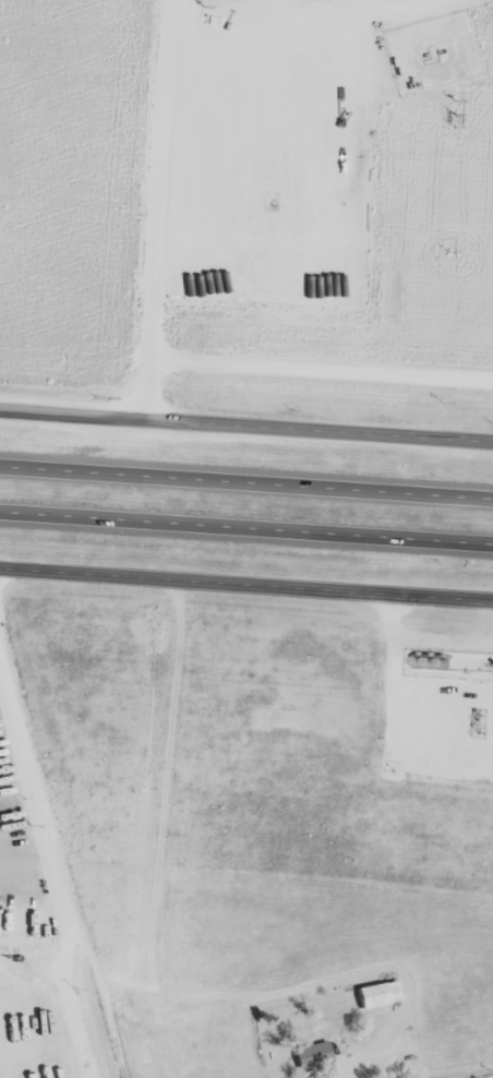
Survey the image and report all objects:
road: (458, 62)
road: (246, 170)
road: (246, 420)
road: (245, 483)
road: (245, 527)
road: (246, 585)
road: (62, 840)
road: (35, 874)
building: (377, 994)
building: (316, 1051)

